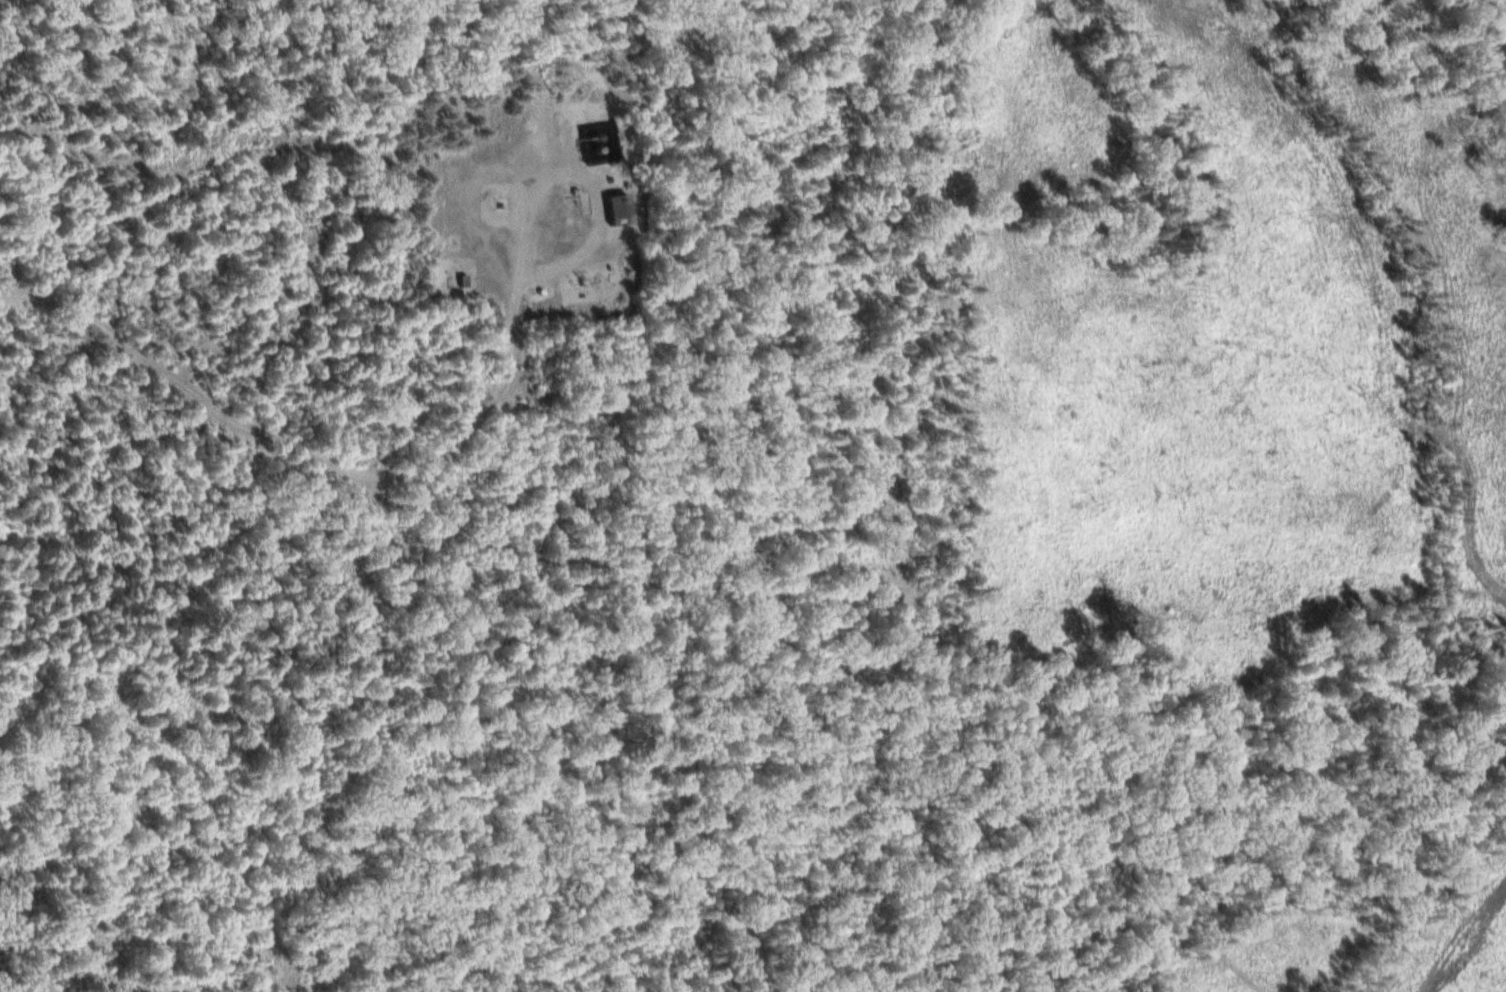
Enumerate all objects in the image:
road: (585, 177)
building: (618, 207)
building: (461, 278)
road: (305, 452)
road: (1452, 493)

